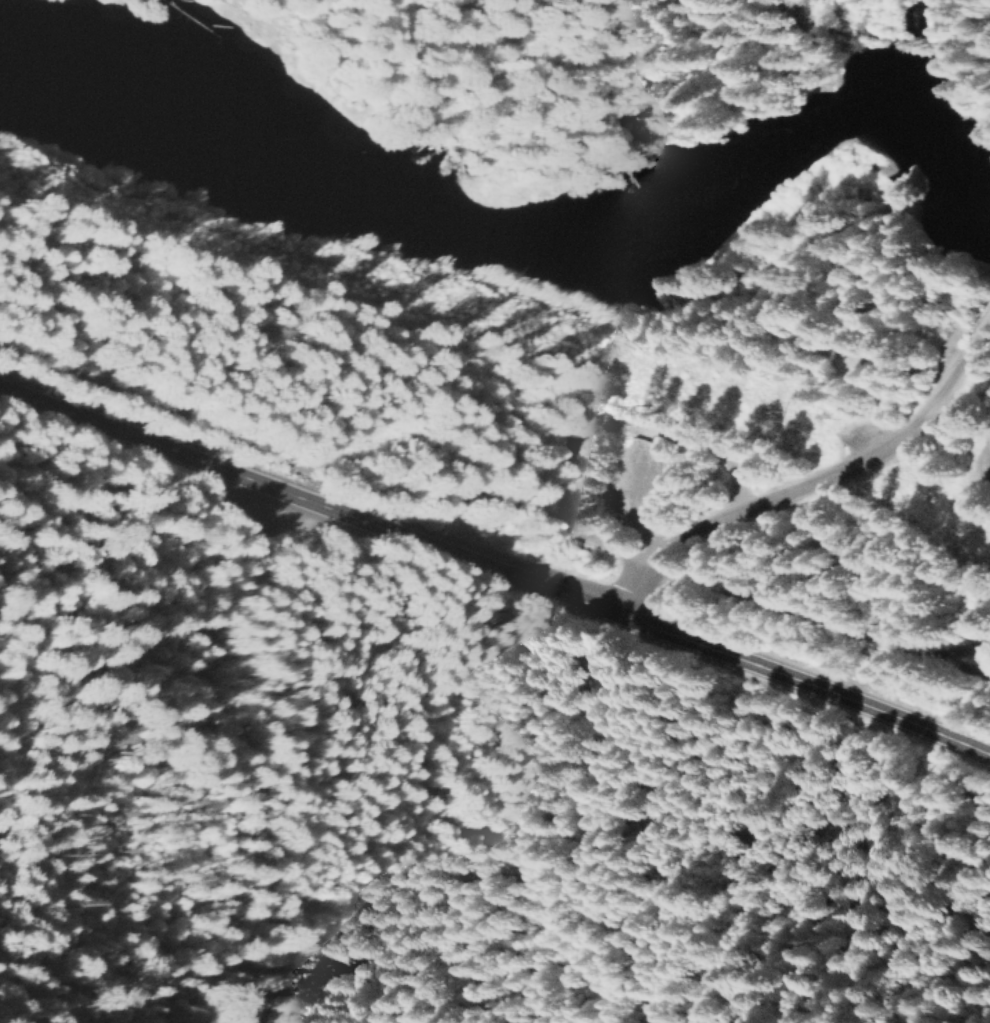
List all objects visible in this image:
river: (541, 247)
road: (969, 389)
road: (875, 400)
power tower: (762, 407)
road: (589, 429)
road: (321, 451)
road: (819, 481)
road: (636, 490)
road: (495, 568)
road: (817, 622)
road: (961, 654)

